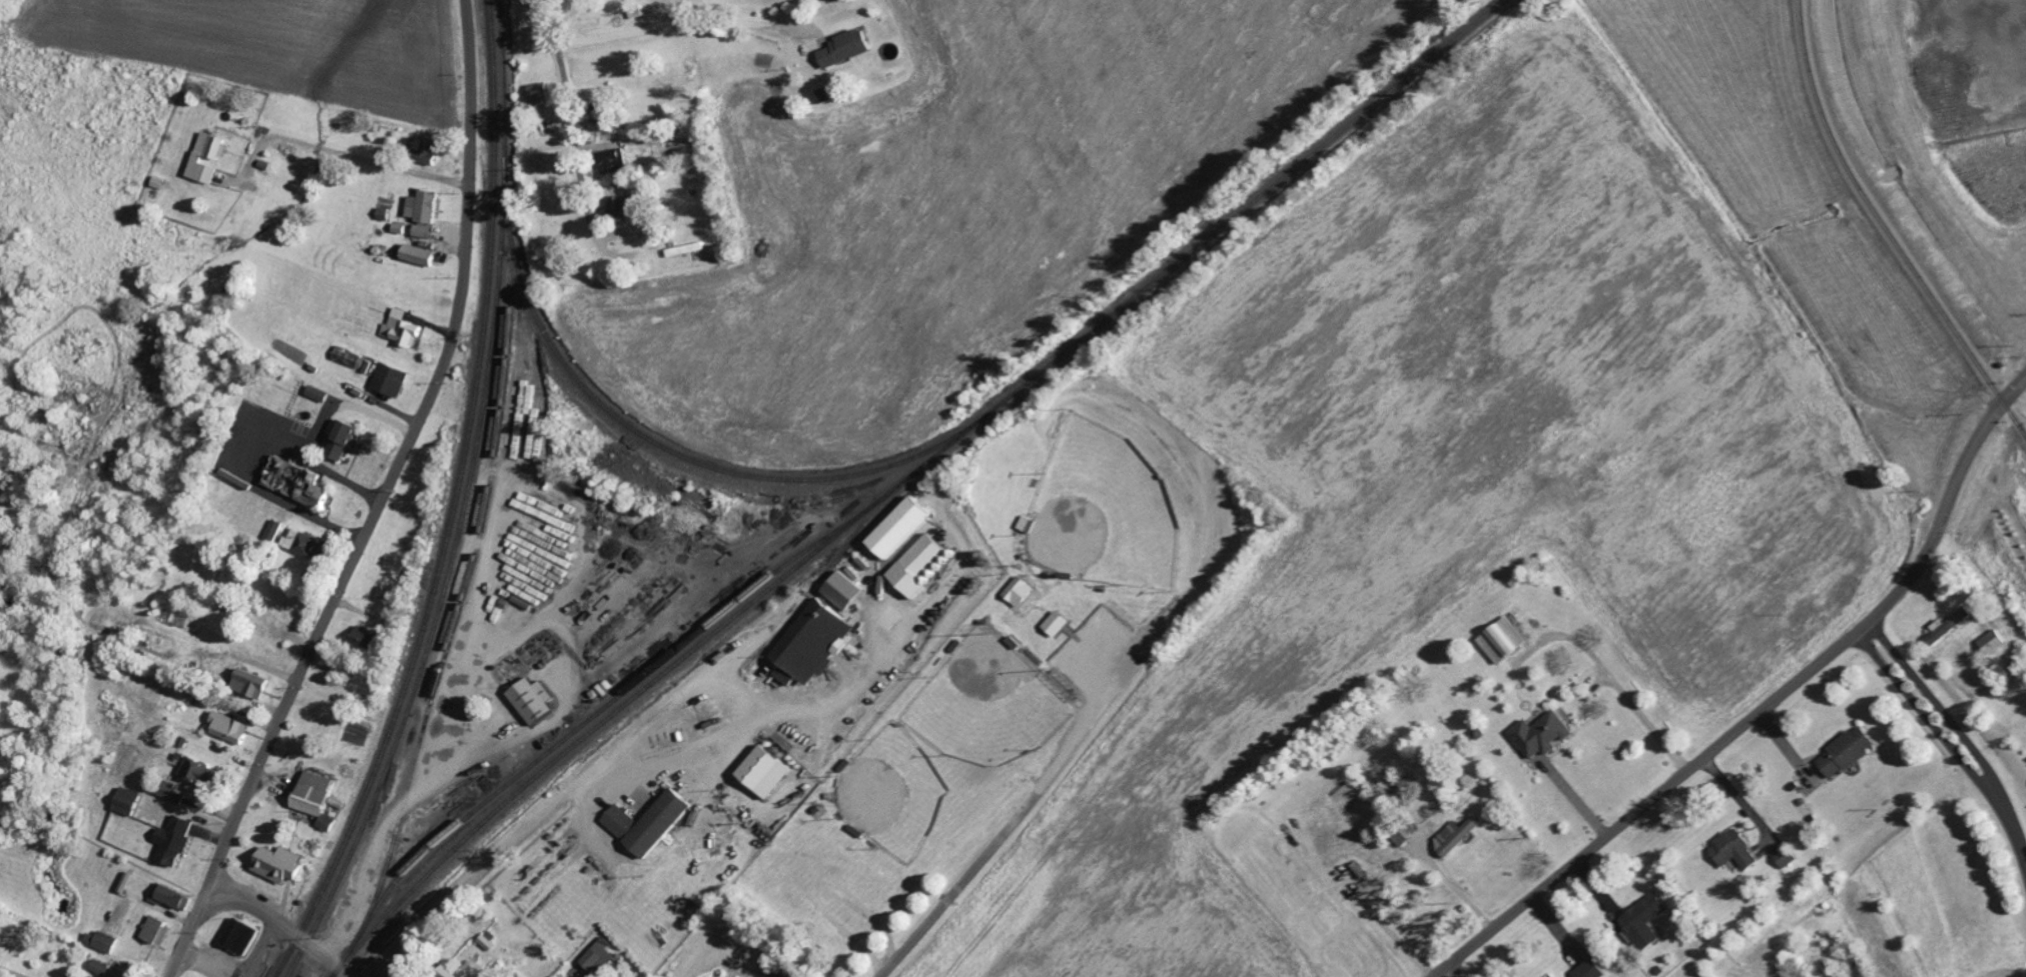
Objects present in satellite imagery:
road: (682, 24)
building: (847, 47)
building: (540, 91)
road: (568, 118)
building: (424, 144)
building: (201, 156)
road: (351, 156)
building: (633, 205)
building: (426, 212)
building: (693, 247)
building: (423, 254)
building: (403, 327)
building: (393, 378)
building: (319, 392)
building: (345, 438)
railway: (648, 441)
road: (238, 450)
railway: (919, 466)
building: (301, 482)
railway: (468, 499)
road: (377, 501)
railway: (452, 502)
building: (907, 526)
building: (277, 529)
building: (307, 543)
building: (923, 562)
building: (1022, 591)
building: (1060, 622)
building: (1945, 625)
building: (367, 637)
building: (1508, 640)
building: (817, 641)
building: (1989, 641)
road: (1618, 681)
building: (254, 683)
road: (857, 687)
building: (538, 700)
road: (1764, 706)
building: (232, 727)
building: (1545, 733)
road: (1950, 746)
road: (682, 750)
building: (1848, 751)
building: (770, 770)
building: (205, 773)
building: (317, 793)
road: (1578, 796)
road: (560, 797)
building: (131, 801)
building: (652, 822)
road: (1006, 831)
building: (1458, 835)
building: (178, 839)
building: (1736, 849)
building: (1790, 858)
building: (282, 864)
building: (128, 881)
building: (172, 895)
building: (1647, 920)
road: (282, 927)
building: (158, 929)
building: (244, 935)
building: (104, 941)
road: (259, 949)
building: (102, 966)
building: (475, 969)
building: (1593, 969)
road: (1447, 972)

